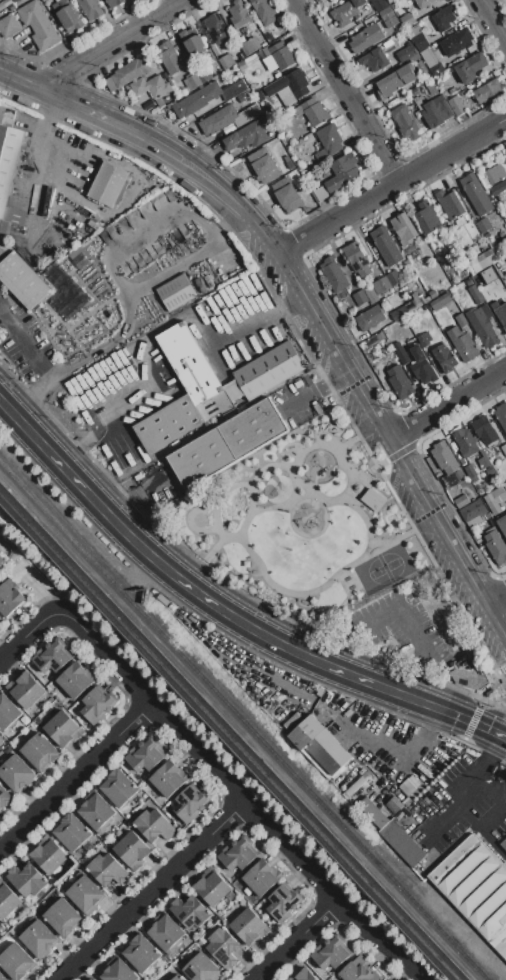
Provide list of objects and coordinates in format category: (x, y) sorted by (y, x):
building: (14, 0)
building: (43, 0)
building: (56, 0)
building: (342, 0)
building: (438, 0)
building: (4, 3)
building: (113, 3)
building: (423, 3)
building: (379, 4)
building: (397, 5)
building: (12, 7)
building: (90, 9)
building: (264, 11)
building: (346, 11)
building: (239, 14)
building: (388, 16)
building: (69, 18)
building: (443, 18)
building: (407, 19)
road: (494, 19)
building: (39, 24)
building: (8, 25)
building: (217, 28)
building: (365, 38)
building: (191, 41)
building: (456, 41)
road: (108, 43)
building: (394, 45)
building: (421, 45)
building: (250, 46)
building: (404, 53)
building: (170, 57)
building: (277, 57)
building: (375, 60)
building: (226, 61)
building: (242, 65)
building: (470, 67)
building: (435, 69)
building: (138, 79)
building: (396, 80)
building: (190, 82)
building: (287, 88)
building: (432, 88)
road: (344, 90)
building: (488, 91)
building: (173, 95)
building: (207, 97)
building: (458, 105)
building: (315, 111)
building: (436, 111)
road: (90, 113)
building: (7, 116)
building: (228, 117)
building: (405, 123)
building: (247, 136)
building: (329, 139)
building: (505, 145)
building: (264, 166)
building: (8, 167)
building: (342, 172)
building: (495, 174)
road: (211, 181)
building: (108, 184)
road: (392, 184)
building: (498, 188)
building: (319, 194)
building: (476, 194)
building: (286, 195)
building: (450, 204)
building: (427, 217)
building: (505, 219)
building: (483, 225)
building: (404, 228)
building: (486, 234)
road: (148, 236)
building: (386, 246)
building: (414, 253)
building: (357, 258)
building: (481, 261)
building: (334, 273)
building: (394, 277)
building: (478, 278)
building: (23, 280)
building: (381, 284)
building: (499, 287)
building: (176, 292)
building: (433, 294)
building: (371, 295)
building: (475, 295)
building: (360, 297)
building: (441, 301)
building: (408, 306)
road: (128, 310)
building: (501, 314)
road: (269, 315)
road: (178, 317)
building: (369, 318)
building: (461, 319)
road: (319, 320)
building: (482, 324)
building: (424, 338)
road: (21, 339)
building: (462, 342)
building: (400, 352)
building: (444, 357)
building: (190, 362)
building: (421, 365)
building: (269, 370)
road: (49, 373)
building: (399, 382)
building: (223, 401)
road: (447, 403)
road: (85, 405)
building: (501, 415)
building: (168, 422)
building: (254, 427)
building: (484, 429)
road: (351, 442)
building: (472, 448)
building: (503, 449)
building: (202, 457)
building: (443, 457)
road: (330, 468)
building: (471, 472)
railway: (21, 484)
building: (495, 498)
building: (372, 499)
park: (227, 501)
building: (461, 501)
road: (429, 507)
building: (474, 512)
park: (301, 524)
building: (502, 524)
building: (496, 546)
building: (1, 561)
road: (189, 584)
road: (496, 598)
building: (9, 599)
road: (487, 607)
road: (398, 612)
parking lot: (398, 628)
road: (29, 636)
building: (51, 657)
building: (469, 679)
building: (73, 680)
building: (25, 689)
building: (491, 692)
building: (96, 705)
building: (7, 712)
road: (462, 718)
building: (61, 728)
railway: (234, 732)
road: (501, 736)
railway: (227, 738)
building: (0, 739)
railway: (266, 743)
building: (318, 745)
building: (40, 751)
building: (144, 756)
road: (489, 759)
road: (75, 771)
building: (16, 772)
building: (167, 778)
building: (118, 787)
building: (4, 797)
road: (242, 799)
road: (465, 799)
building: (189, 804)
building: (97, 812)
building: (154, 825)
building: (72, 832)
road: (482, 832)
building: (401, 843)
building: (502, 844)
building: (132, 849)
building: (237, 855)
building: (49, 856)
building: (107, 869)
building: (260, 877)
building: (27, 879)
building: (211, 886)
road: (150, 890)
building: (474, 890)
building: (85, 893)
building: (7, 900)
building: (283, 903)
building: (190, 911)
building: (62, 916)
building: (249, 926)
building: (166, 932)
building: (38, 937)
road: (299, 940)
building: (223, 946)
building: (141, 952)
building: (331, 953)
building: (16, 961)
building: (200, 967)
building: (118, 970)
building: (357, 971)
building: (304, 975)
building: (3, 977)
building: (177, 977)
building: (91, 979)
building: (94, 979)
building: (387, 979)

